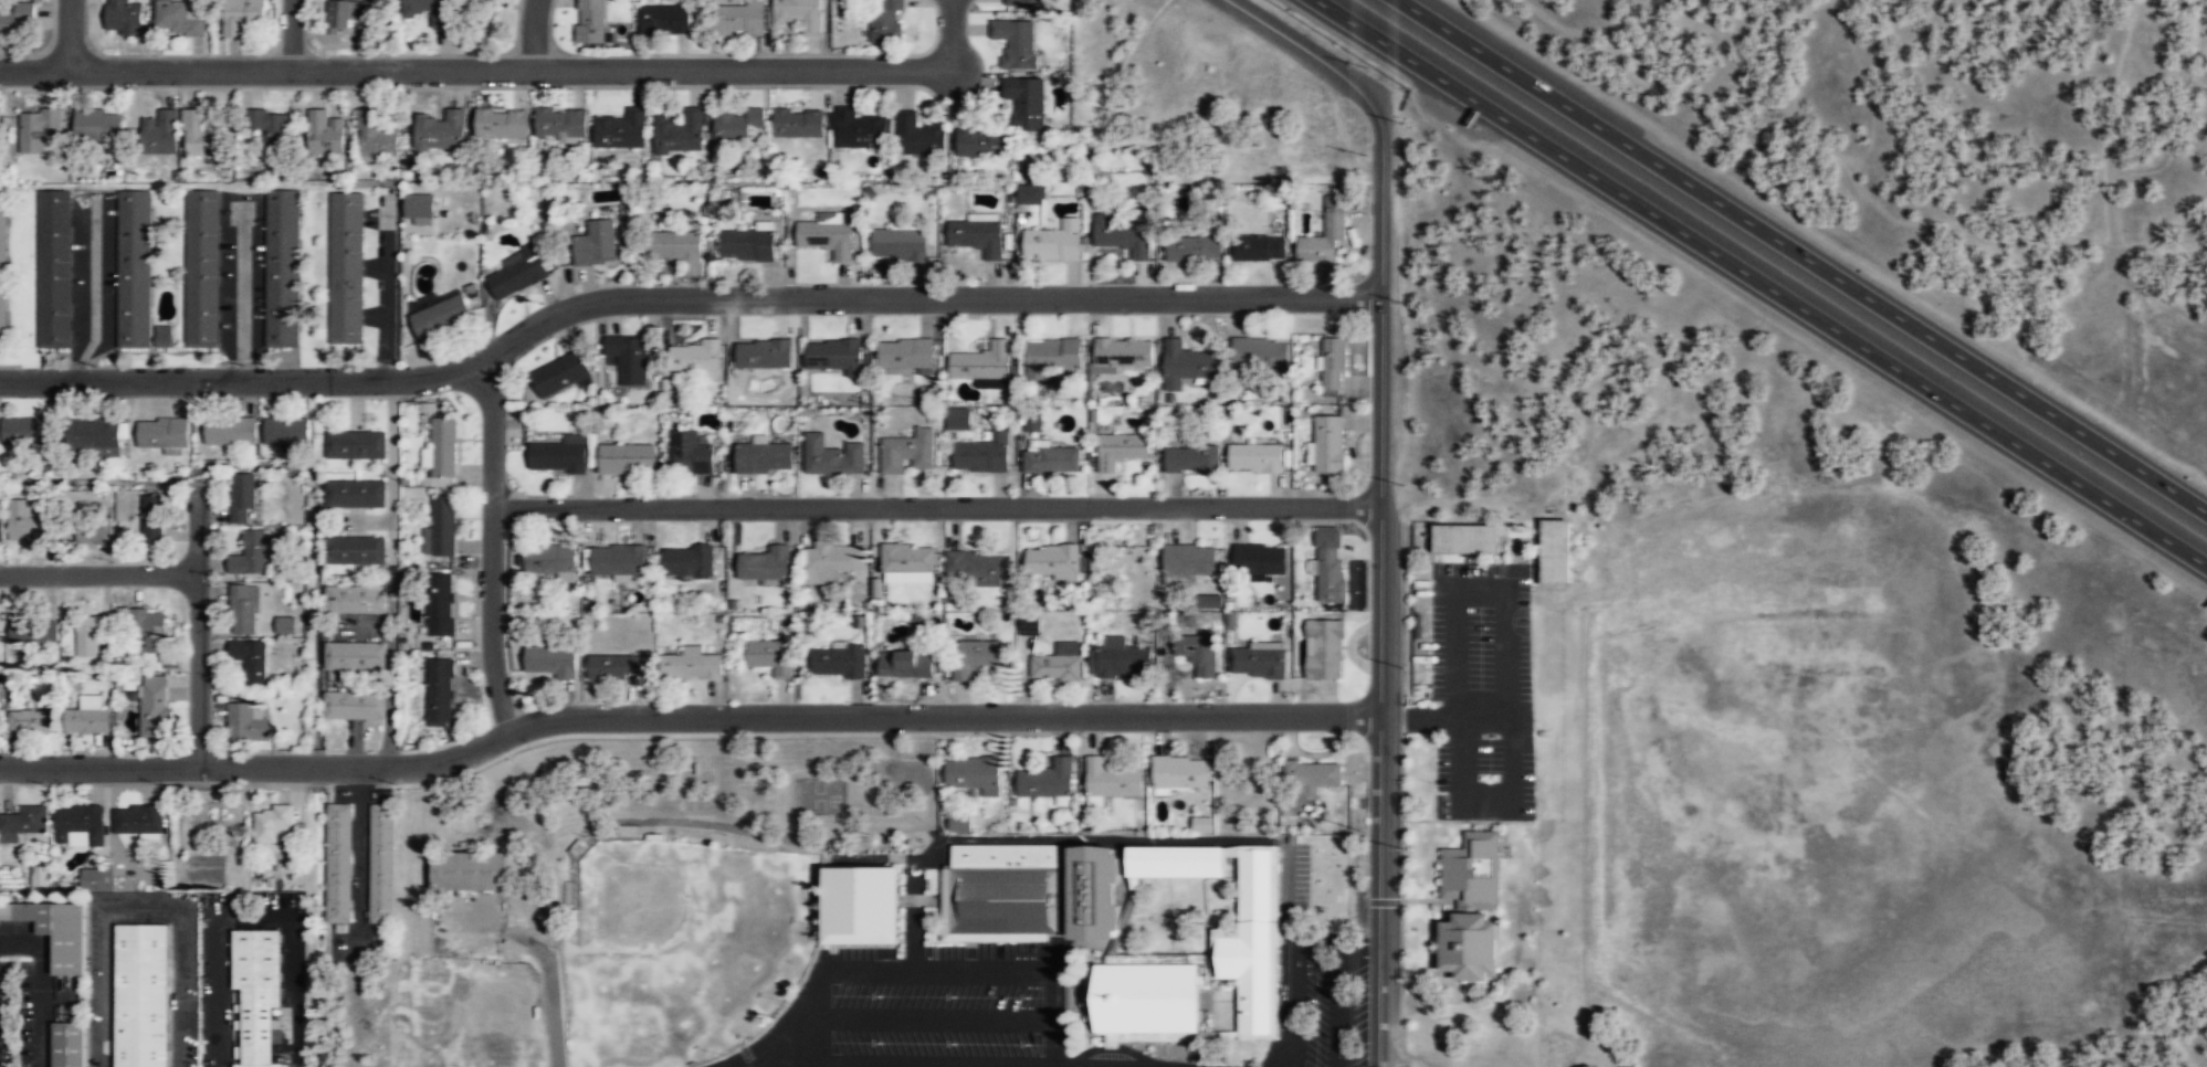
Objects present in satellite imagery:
building: (1024, 3)
building: (839, 6)
building: (431, 10)
building: (800, 13)
building: (242, 14)
building: (341, 14)
building: (14, 17)
building: (123, 18)
building: (739, 18)
building: (177, 19)
building: (664, 19)
building: (590, 21)
building: (886, 21)
road: (69, 34)
road: (292, 34)
road: (532, 34)
building: (1016, 42)
road: (507, 68)
building: (1026, 103)
building: (503, 122)
building: (798, 123)
building: (561, 124)
building: (737, 126)
building: (97, 127)
building: (36, 128)
building: (859, 129)
building: (270, 130)
building: (442, 130)
building: (621, 130)
building: (159, 133)
building: (680, 133)
building: (324, 134)
building: (375, 135)
building: (200, 136)
building: (918, 136)
building: (981, 144)
building: (1029, 192)
building: (417, 204)
building: (1325, 234)
building: (1123, 236)
building: (827, 237)
building: (977, 237)
building: (1054, 242)
building: (596, 244)
building: (898, 244)
building: (747, 245)
building: (673, 247)
building: (1194, 250)
building: (1259, 250)
road: (1801, 256)
building: (347, 267)
building: (54, 268)
building: (202, 268)
building: (282, 268)
building: (3, 270)
building: (134, 270)
building: (518, 272)
road: (1761, 283)
road: (91, 289)
road: (240, 292)
road: (929, 296)
building: (440, 315)
building: (164, 336)
building: (1124, 352)
building: (906, 353)
building: (763, 355)
building: (1260, 355)
building: (833, 356)
building: (1052, 356)
building: (697, 357)
building: (628, 358)
building: (981, 362)
building: (1186, 365)
building: (1333, 367)
building: (559, 373)
road: (248, 379)
street lamp: (1369, 400)
building: (956, 419)
building: (1031, 422)
building: (286, 430)
building: (230, 431)
building: (29, 432)
building: (161, 433)
building: (94, 439)
building: (356, 444)
building: (1328, 444)
building: (443, 447)
building: (1121, 450)
building: (907, 453)
building: (690, 454)
building: (982, 454)
building: (559, 455)
building: (764, 457)
building: (831, 457)
building: (1257, 457)
building: (626, 458)
building: (1192, 459)
building: (1049, 461)
building: (355, 494)
road: (1381, 495)
building: (242, 499)
road: (936, 506)
building: (153, 518)
building: (25, 525)
building: (94, 527)
building: (440, 528)
building: (1, 530)
building: (1464, 537)
road: (492, 545)
building: (355, 550)
building: (1555, 550)
building: (250, 554)
building: (835, 558)
building: (550, 559)
building: (907, 559)
building: (618, 560)
building: (1259, 560)
building: (689, 561)
building: (1052, 561)
building: (1189, 561)
building: (1328, 563)
building: (766, 564)
building: (978, 570)
road: (98, 572)
building: (355, 600)
building: (1208, 601)
building: (440, 604)
building: (244, 610)
street lamp: (1367, 610)
building: (148, 622)
building: (284, 625)
road: (198, 627)
building: (33, 630)
building: (91, 634)
building: (1325, 648)
building: (1198, 653)
building: (770, 655)
building: (354, 657)
building: (975, 657)
building: (1120, 658)
building: (250, 659)
building: (551, 661)
building: (838, 661)
building: (1258, 663)
building: (692, 664)
building: (906, 664)
building: (1057, 664)
building: (617, 666)
parking lot: (1480, 689)
building: (440, 691)
building: (354, 705)
building: (155, 706)
building: (87, 716)
road: (685, 717)
building: (32, 720)
building: (249, 721)
building: (1181, 772)
building: (1312, 774)
building: (973, 777)
building: (1110, 780)
building: (1047, 781)
street lamp: (398, 783)
street lamp: (54, 784)
street lamp: (237, 784)
building: (138, 820)
road: (679, 820)
building: (23, 822)
building: (272, 823)
building: (959, 823)
building: (1201, 824)
building: (80, 825)
road: (1100, 839)
building: (1180, 862)
building: (339, 863)
building: (382, 863)
building: (1472, 869)
building: (470, 870)
building: (38, 875)
building: (94, 879)
building: (1100, 892)
building: (1000, 894)
road: (1202, 896)
road: (1379, 901)
building: (858, 906)
road: (1062, 907)
road: (141, 908)
road: (253, 915)
road: (1188, 915)
road: (1169, 916)
road: (358, 918)
road: (491, 923)
road: (1125, 923)
building: (56, 930)
building: (1252, 941)
building: (1468, 944)
road: (1321, 948)
park: (683, 949)
road: (1359, 954)
road: (1162, 958)
road: (936, 970)
building: (259, 991)
road: (551, 994)
building: (143, 995)
street lamp: (879, 995)
street lamp: (953, 995)
street lamp: (1027, 996)
road: (1209, 996)
building: (1152, 999)
road: (1225, 999)
park: (654, 1004)
road: (1295, 1007)
parking lot: (1027, 1010)
road: (1341, 1011)
road: (817, 1017)
road: (934, 1017)
road: (1276, 1017)
road: (1050, 1018)
road: (788, 1032)
street lamp: (879, 1042)
street lamp: (953, 1043)
building: (70, 1044)
street lamp: (1027, 1044)
road: (1107, 1048)
road: (1166, 1054)
road: (934, 1066)
road: (1055, 1066)

